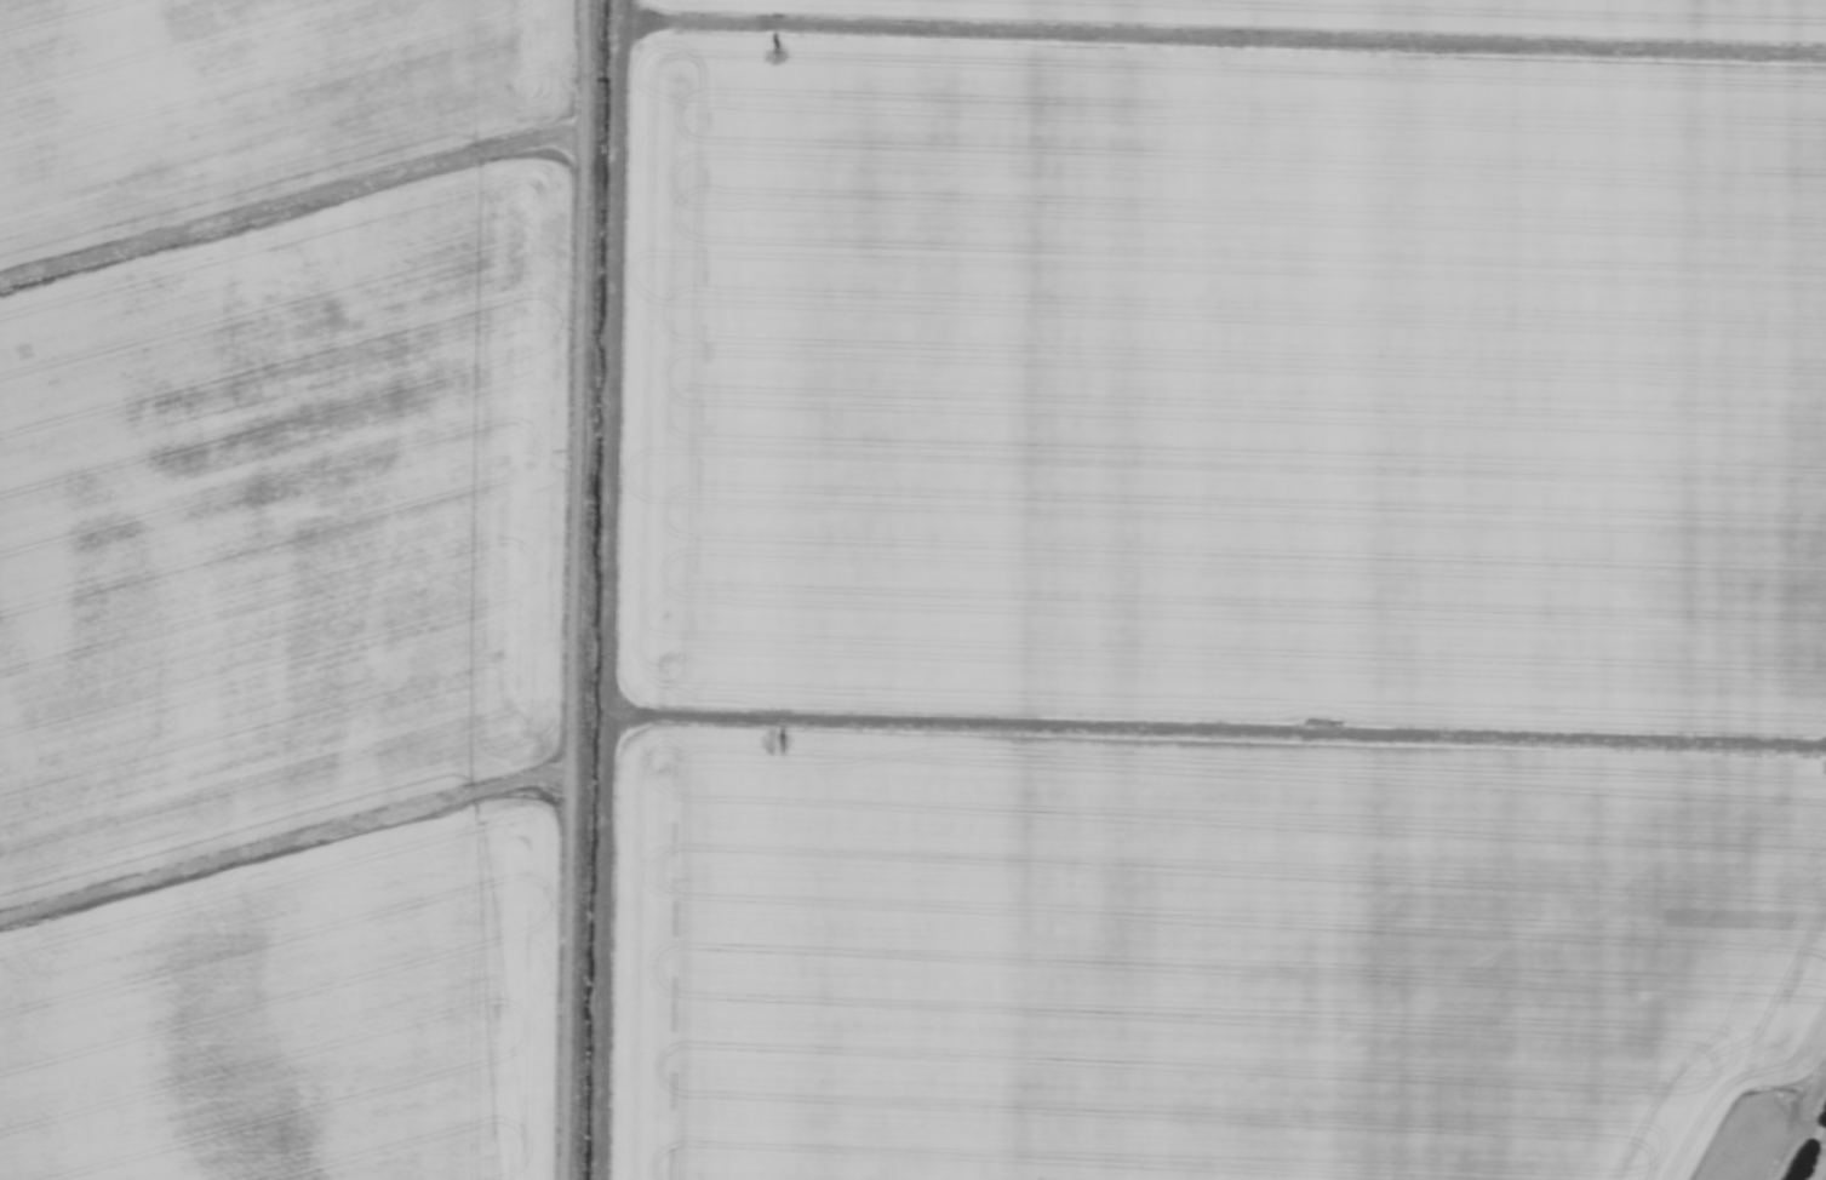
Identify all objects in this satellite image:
road: (573, 590)

